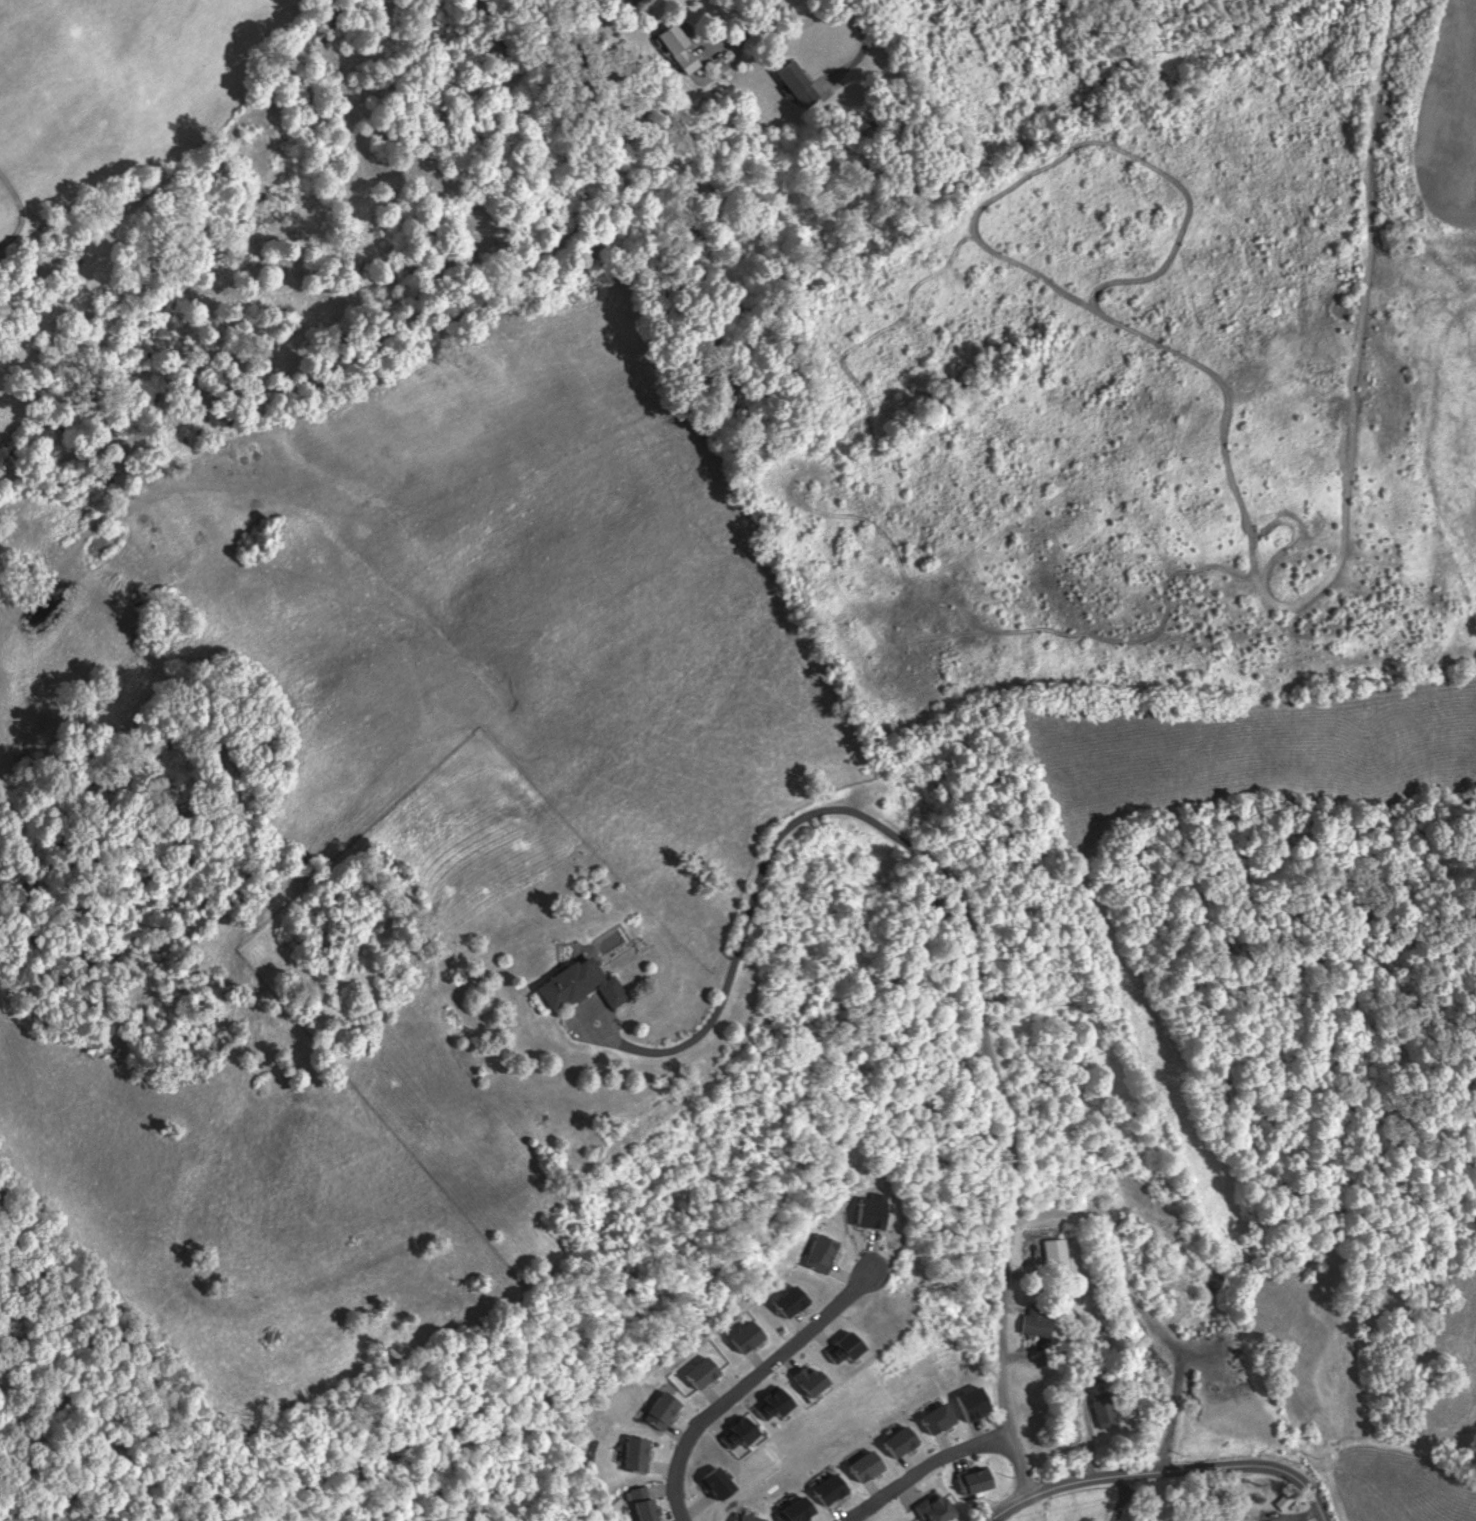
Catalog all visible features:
road: (860, 18)
building: (684, 47)
road: (855, 54)
road: (808, 812)
building: (573, 986)
building: (864, 1212)
building: (1060, 1252)
building: (817, 1253)
road: (865, 1254)
road: (841, 1274)
building: (787, 1302)
road: (1001, 1307)
road: (799, 1324)
building: (1029, 1324)
road: (816, 1333)
building: (743, 1336)
building: (835, 1347)
road: (1015, 1353)
road: (757, 1361)
building: (701, 1372)
building: (805, 1383)
road: (744, 1384)
road: (748, 1392)
road: (715, 1397)
building: (968, 1401)
building: (766, 1404)
building: (660, 1410)
building: (933, 1420)
road: (712, 1422)
road: (974, 1429)
road: (677, 1433)
building: (734, 1433)
building: (898, 1441)
road: (945, 1444)
building: (634, 1454)
road: (959, 1458)
road: (664, 1465)
building: (860, 1465)
road: (925, 1465)
road: (908, 1466)
road: (1170, 1469)
building: (968, 1479)
building: (713, 1482)
road: (662, 1488)
building: (827, 1489)
road: (874, 1491)
road: (903, 1494)
building: (637, 1503)
road: (690, 1506)
building: (654, 1509)
building: (932, 1509)
building: (793, 1510)
road: (837, 1512)
building: (742, 1517)
building: (1228, 1520)

